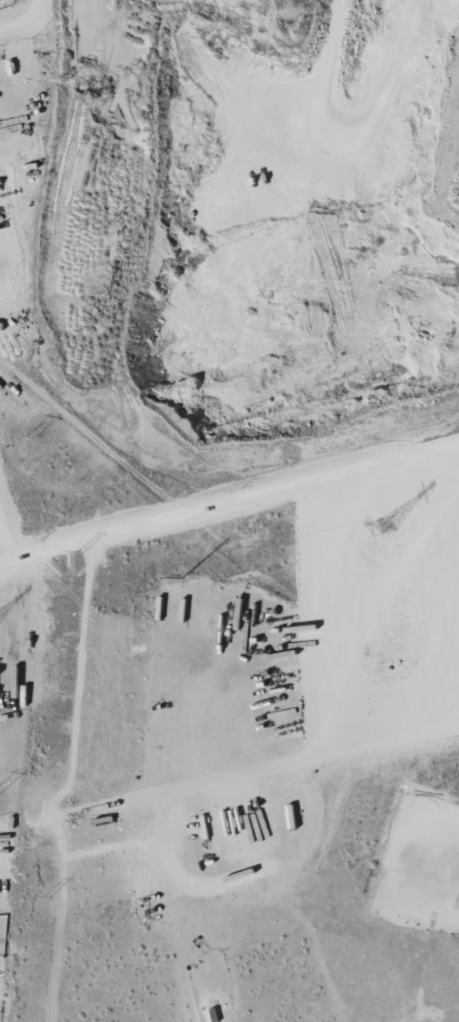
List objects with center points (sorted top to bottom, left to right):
road: (52, 11)
road: (26, 28)
power tower: (65, 80)
power tower: (110, 226)
power tower: (30, 438)
road: (234, 503)
power tower: (391, 525)
road: (5, 546)
power tower: (79, 553)
road: (5, 567)
power tower: (45, 899)

